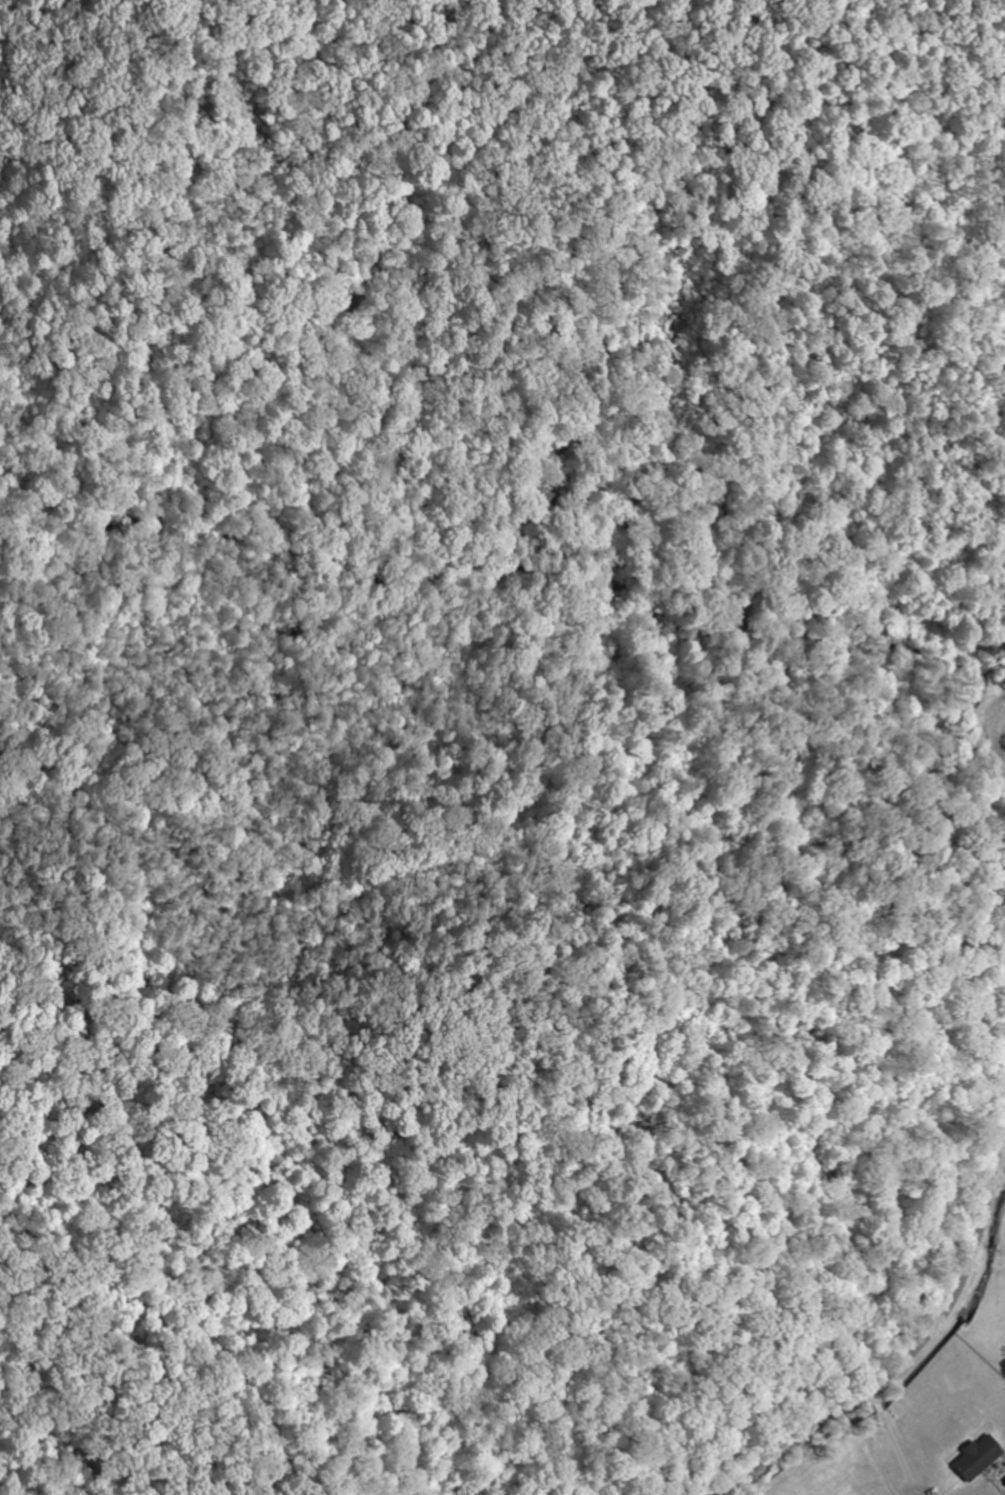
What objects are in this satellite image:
road: (914, 1351)
building: (982, 1458)

